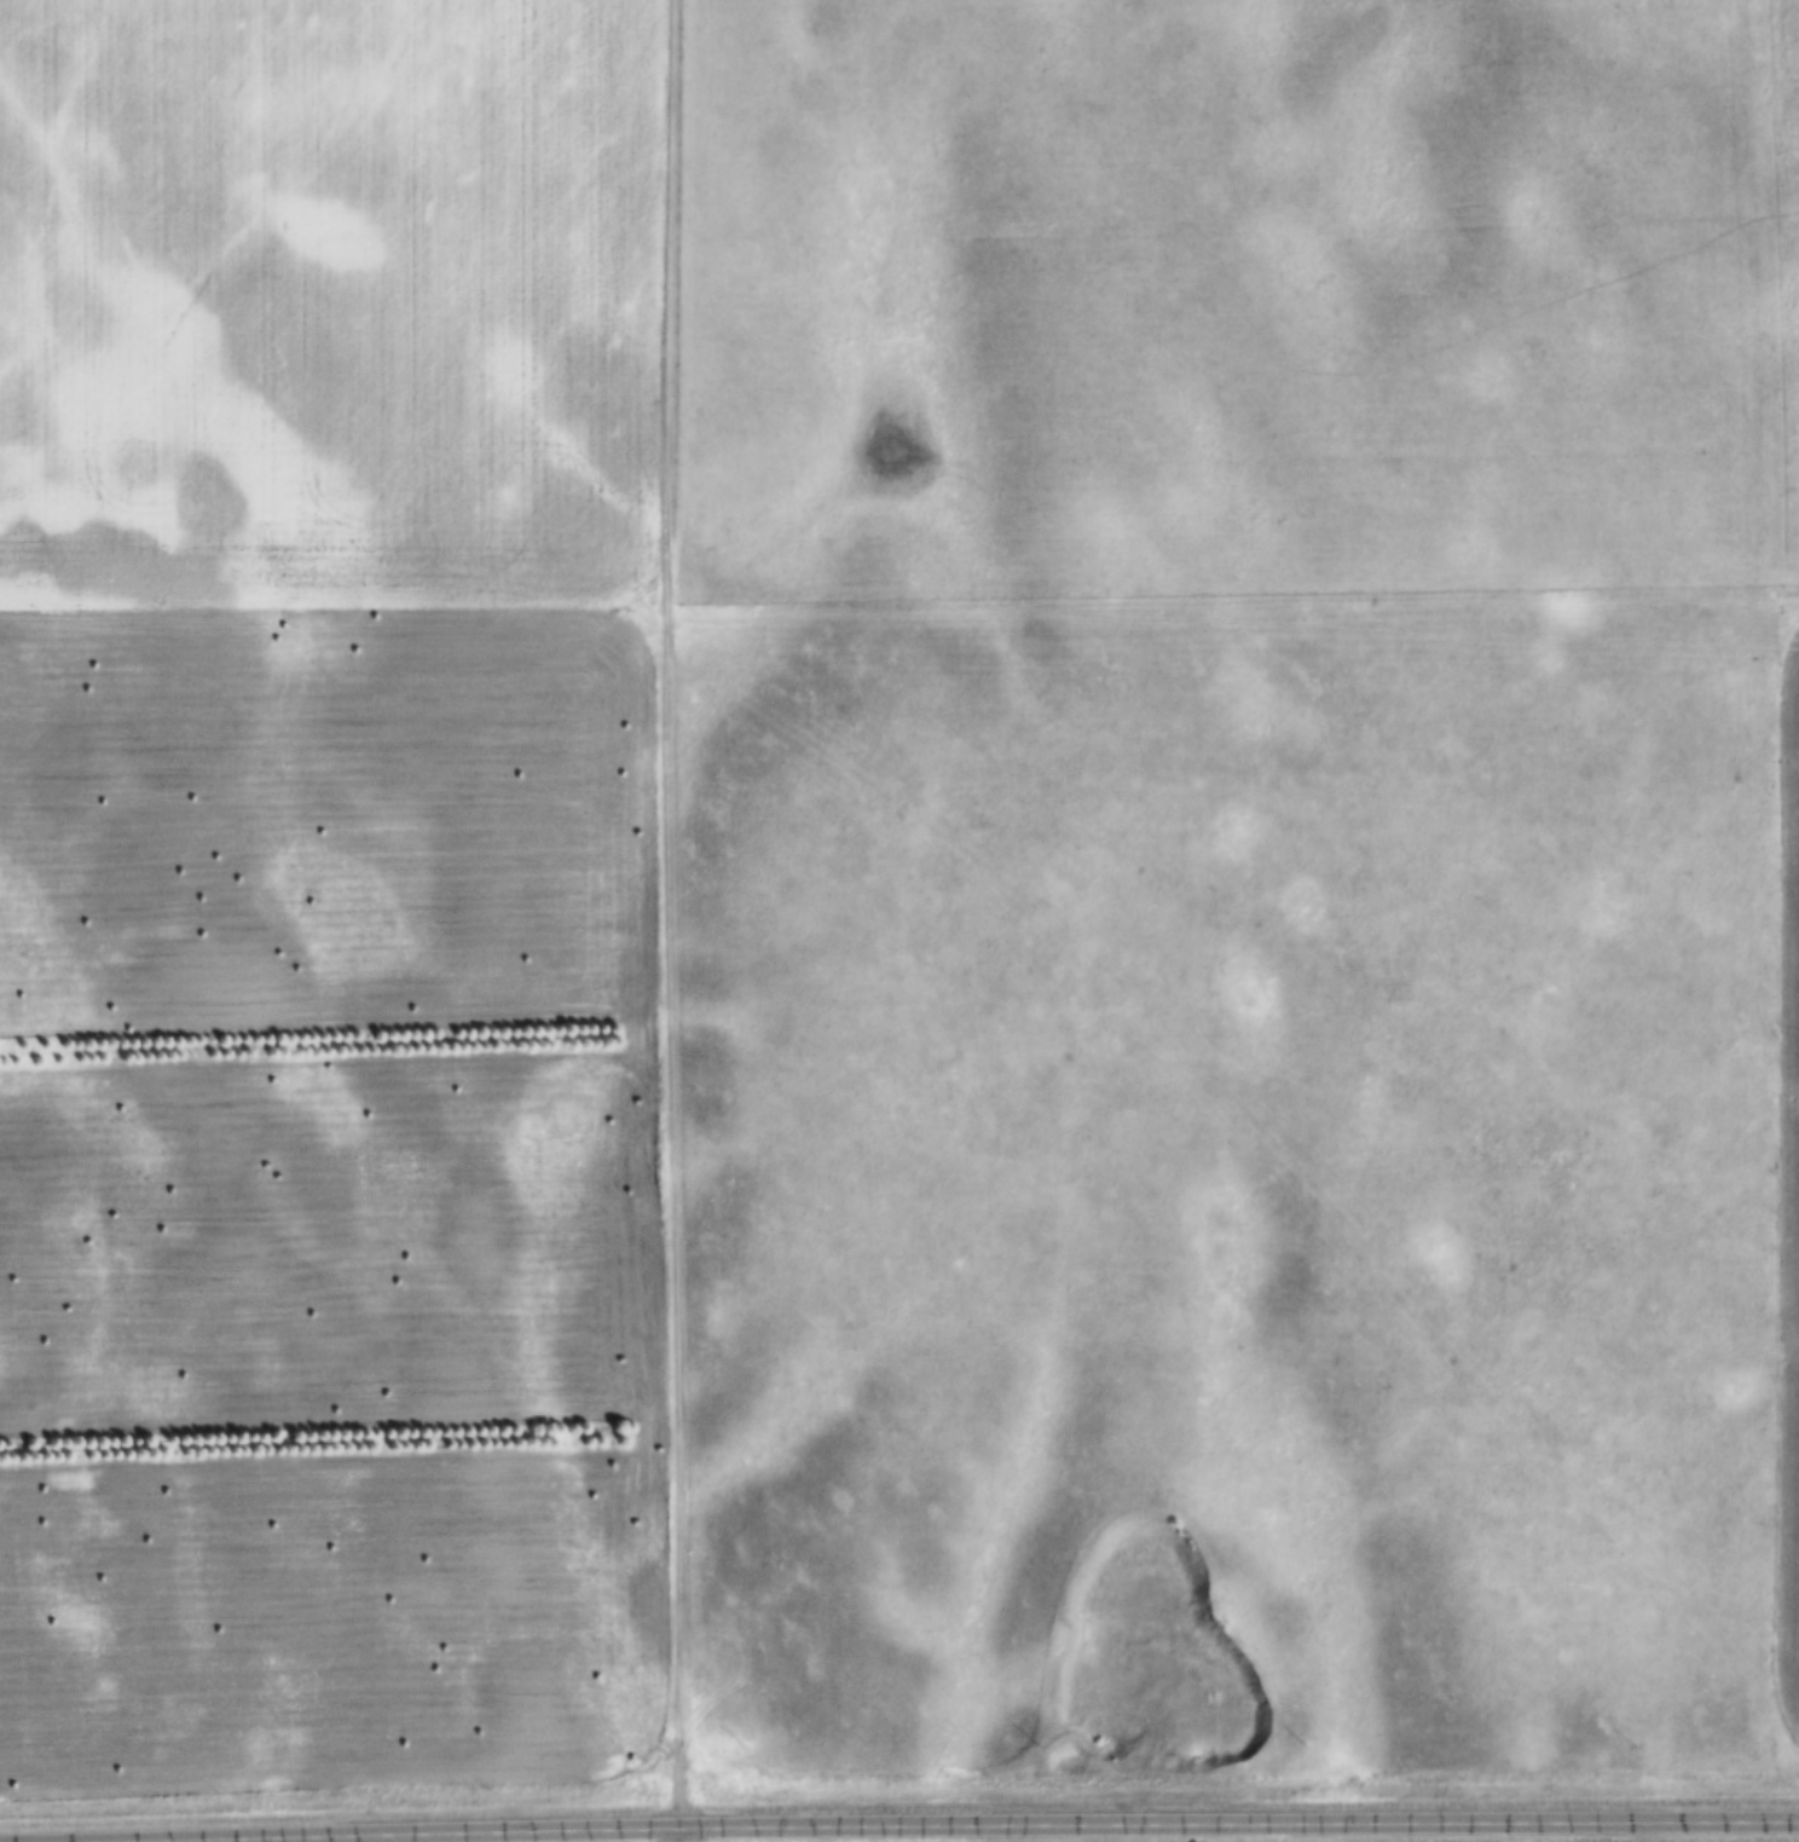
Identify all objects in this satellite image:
road: (666, 912)
road: (898, 1823)
road: (677, 1834)

